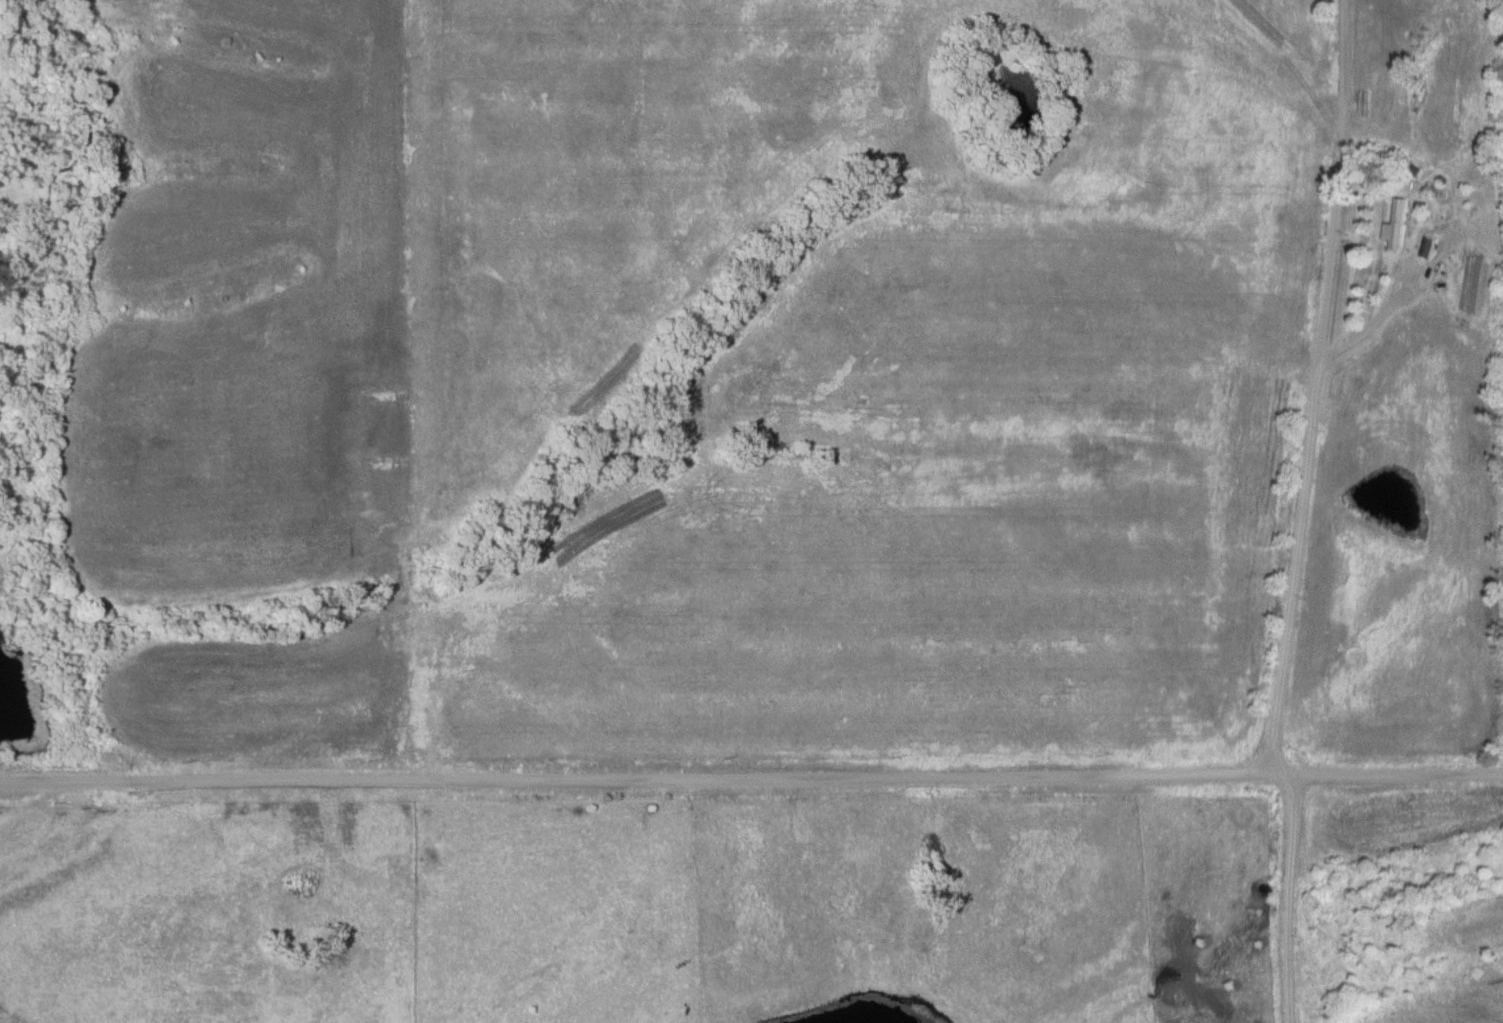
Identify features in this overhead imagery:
building: (1397, 226)
road: (1319, 389)
road: (751, 783)
road: (1292, 899)

